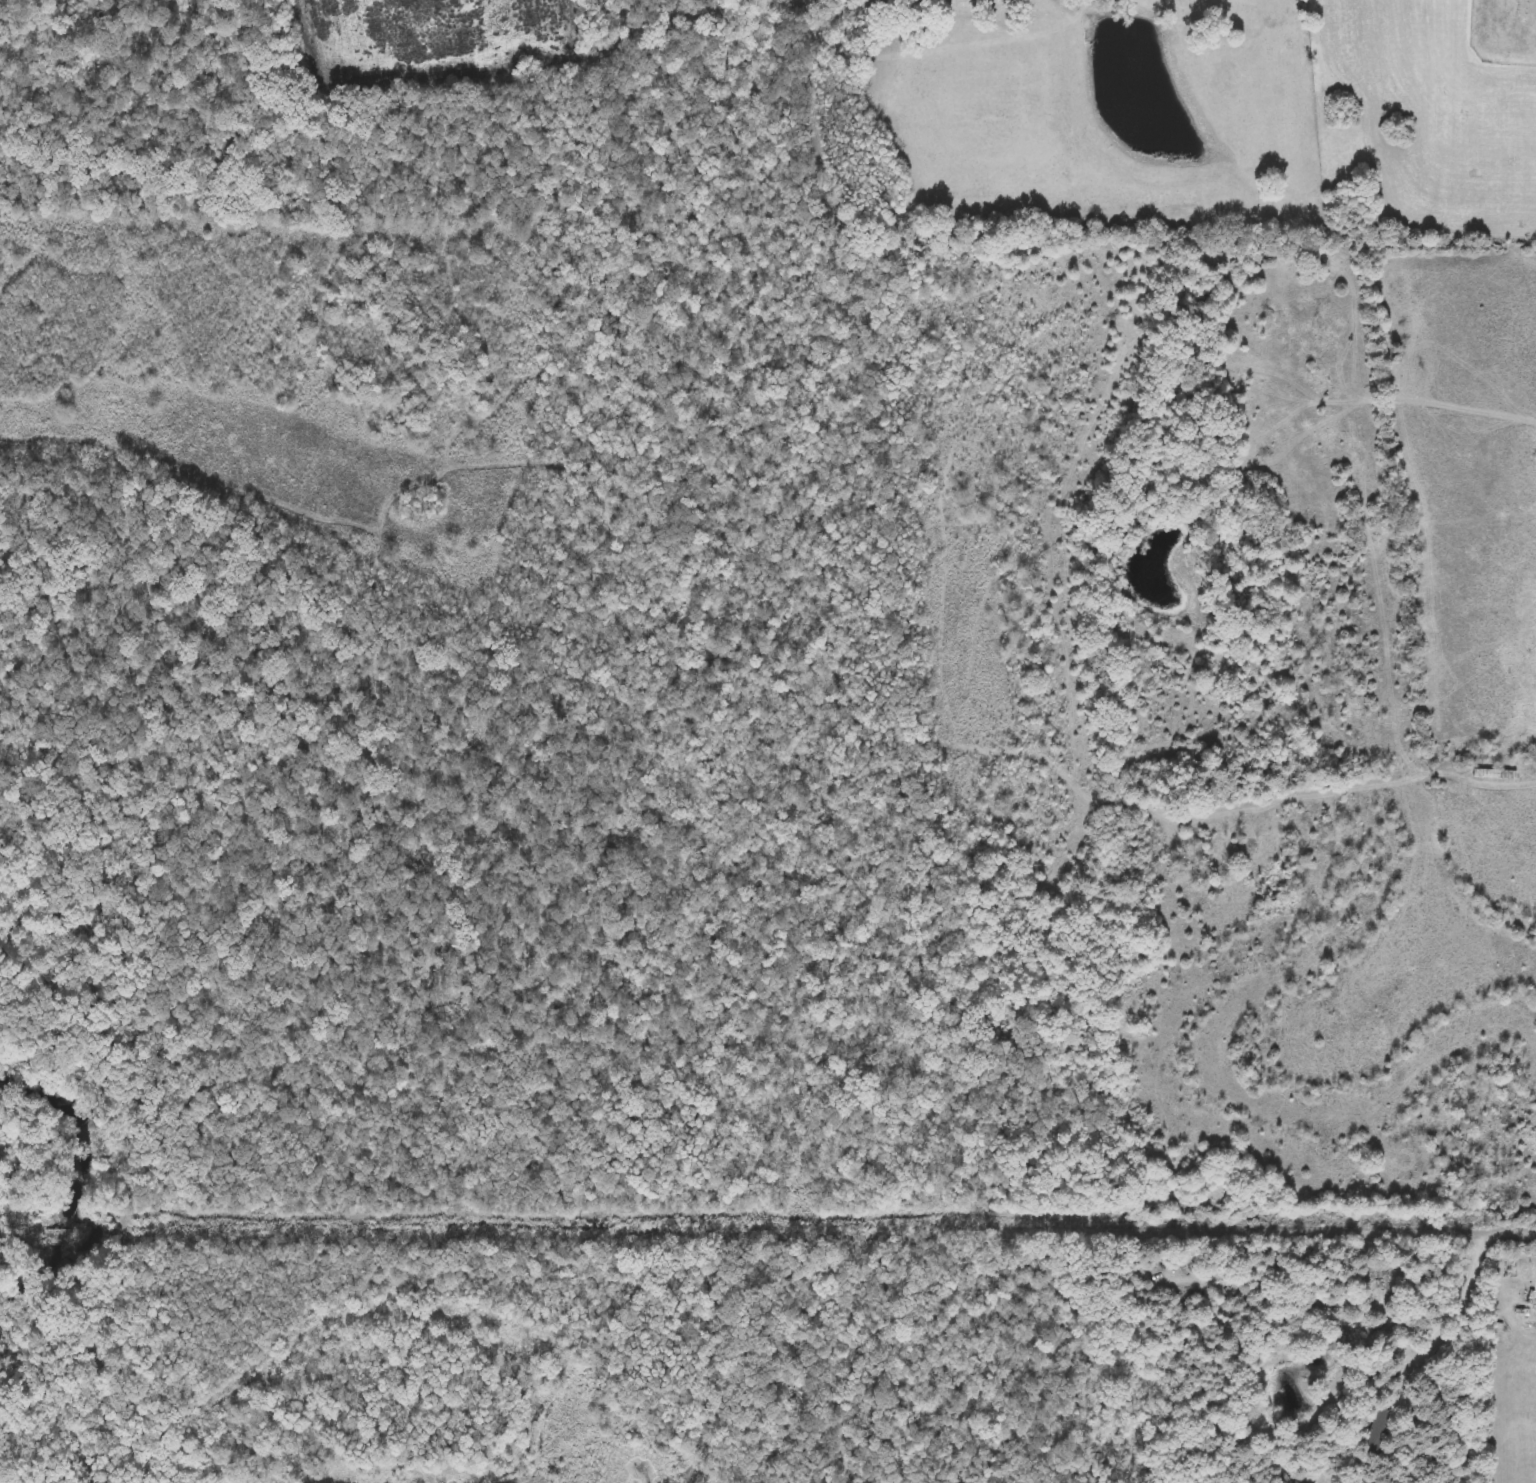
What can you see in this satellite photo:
river: (76, 1195)
road: (803, 1224)
road: (20, 1235)
road: (56, 1236)
road: (1463, 1299)
building: (1382, 1431)

